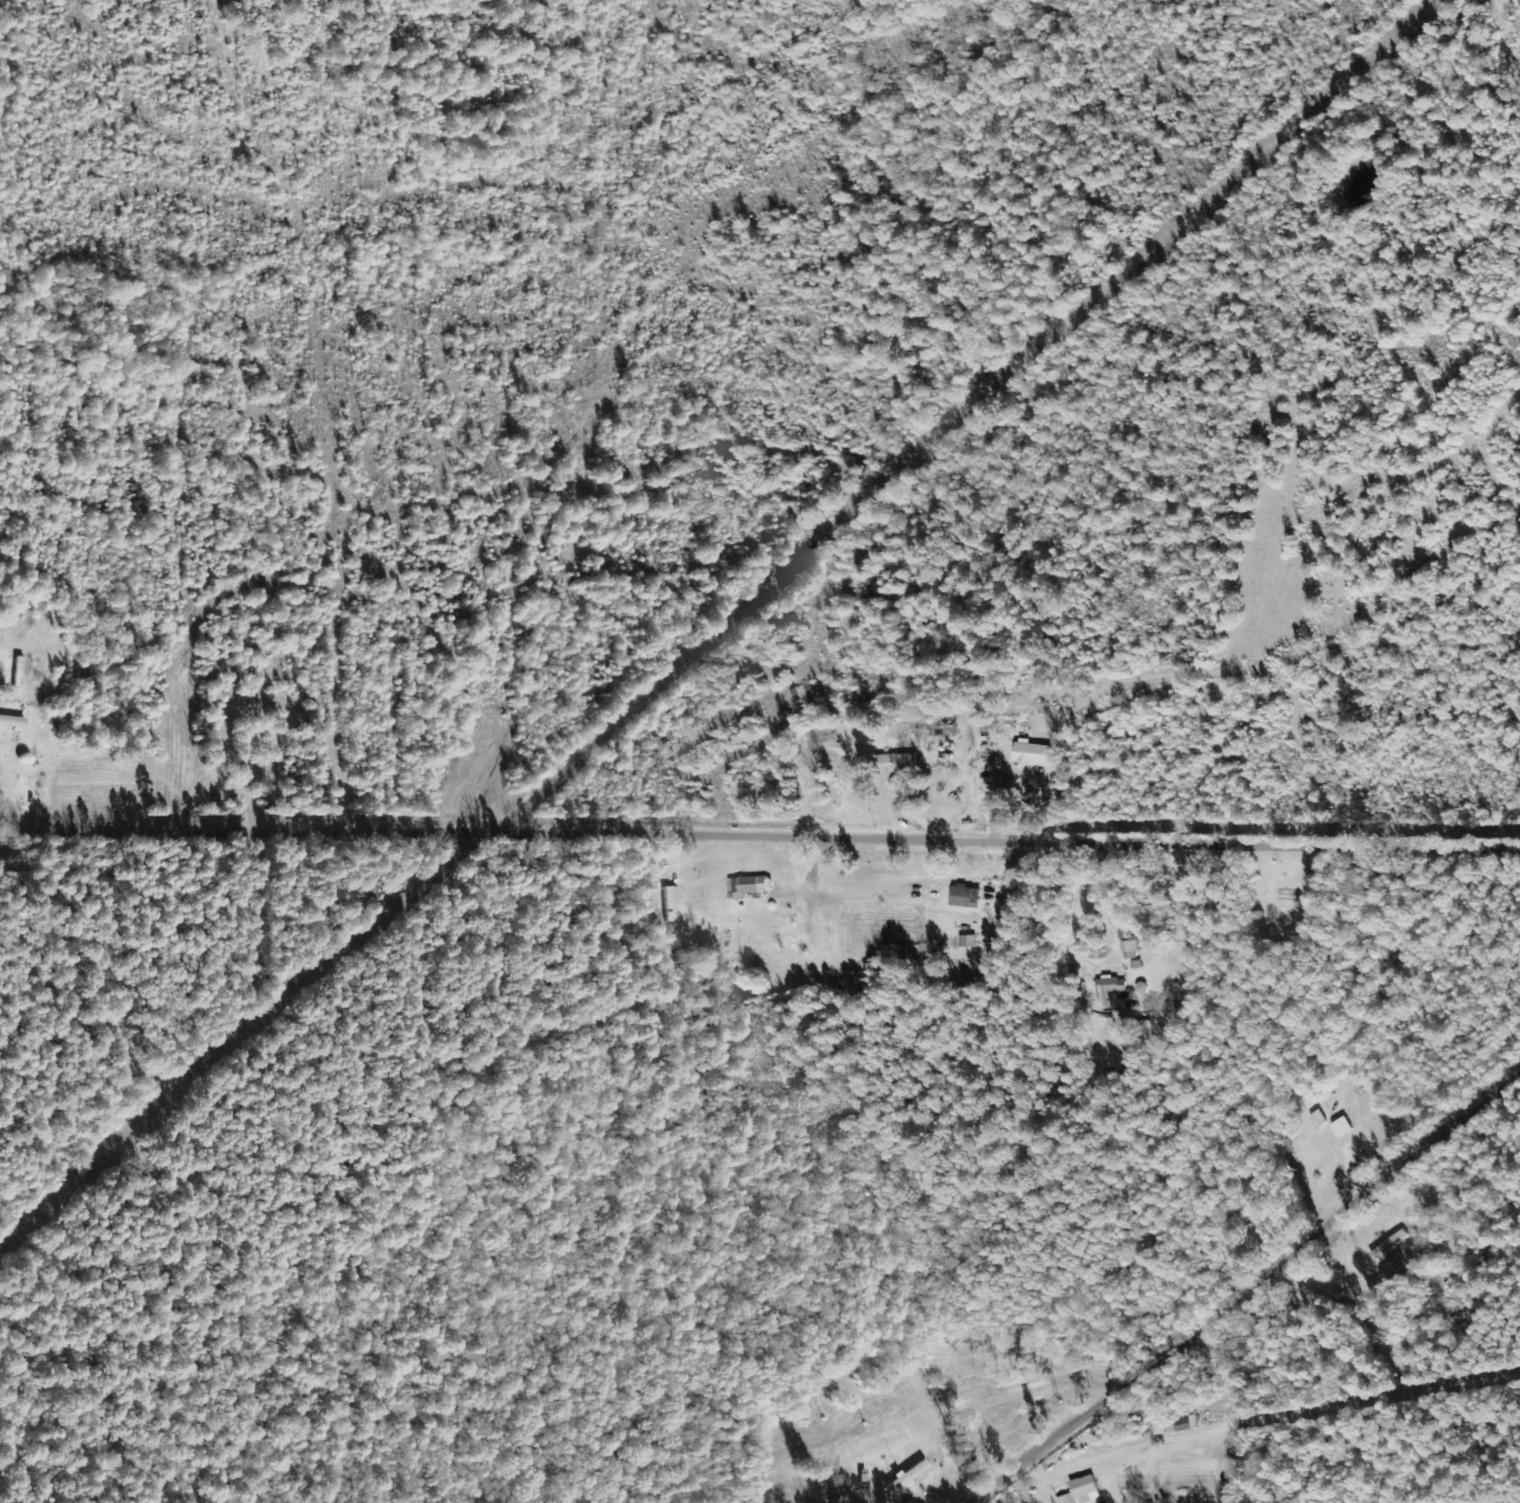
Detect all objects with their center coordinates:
building: (1032, 752)
building: (898, 758)
road: (780, 838)
building: (749, 884)
building: (967, 896)
building: (671, 901)
building: (968, 940)
building: (1129, 943)
building: (1113, 991)
building: (1317, 1119)
building: (1342, 1126)
road: (1254, 1290)
building: (1180, 1424)
building: (1158, 1428)
building: (909, 1475)
building: (1083, 1491)

